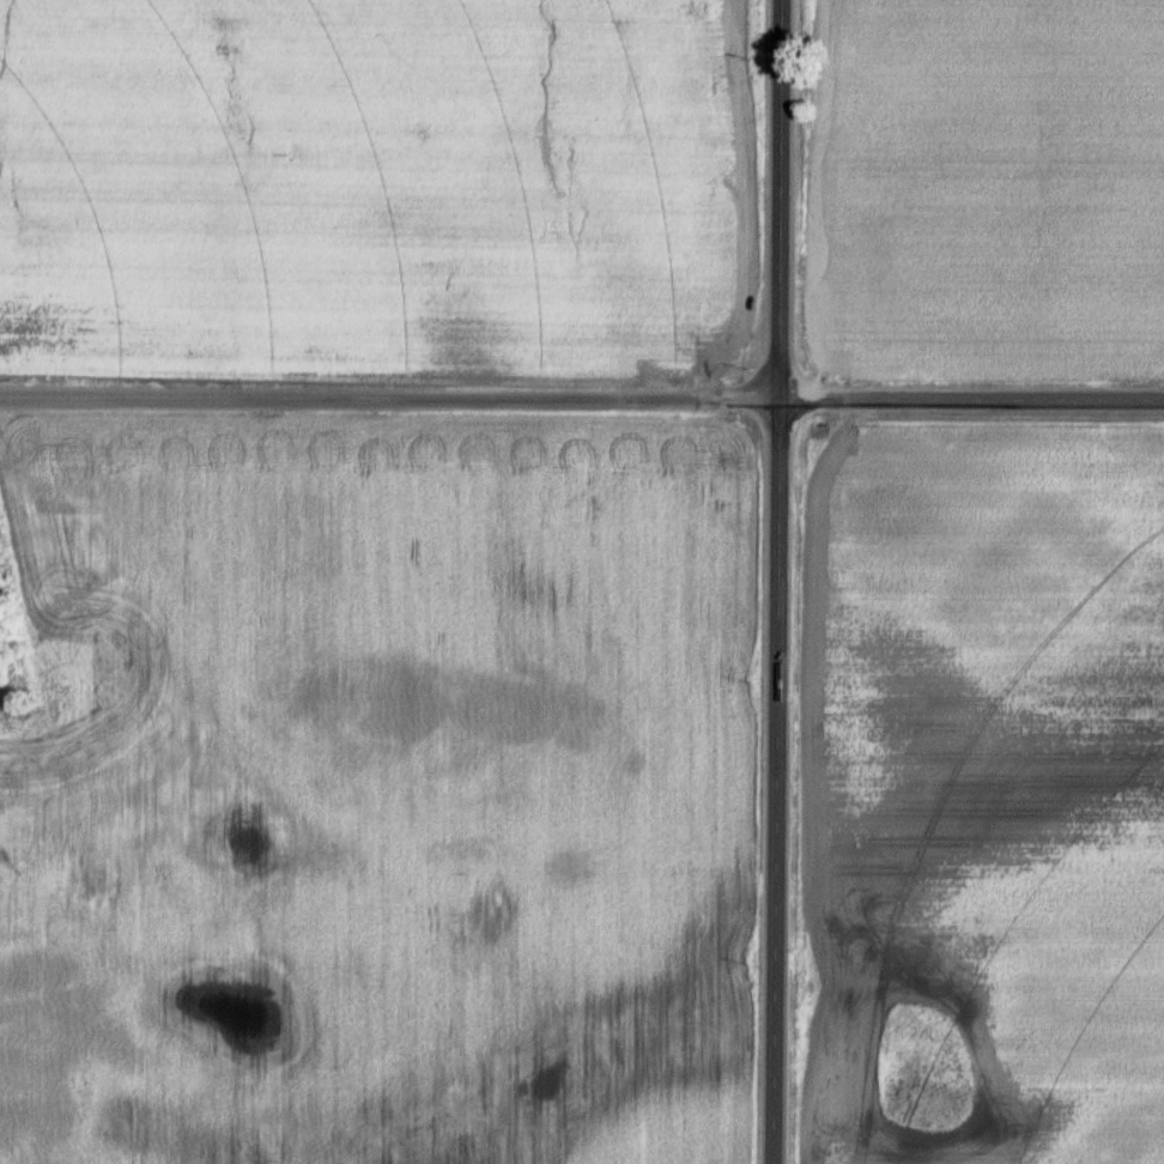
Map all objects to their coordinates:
road: (780, 200)
road: (389, 399)
road: (971, 401)
road: (776, 782)

